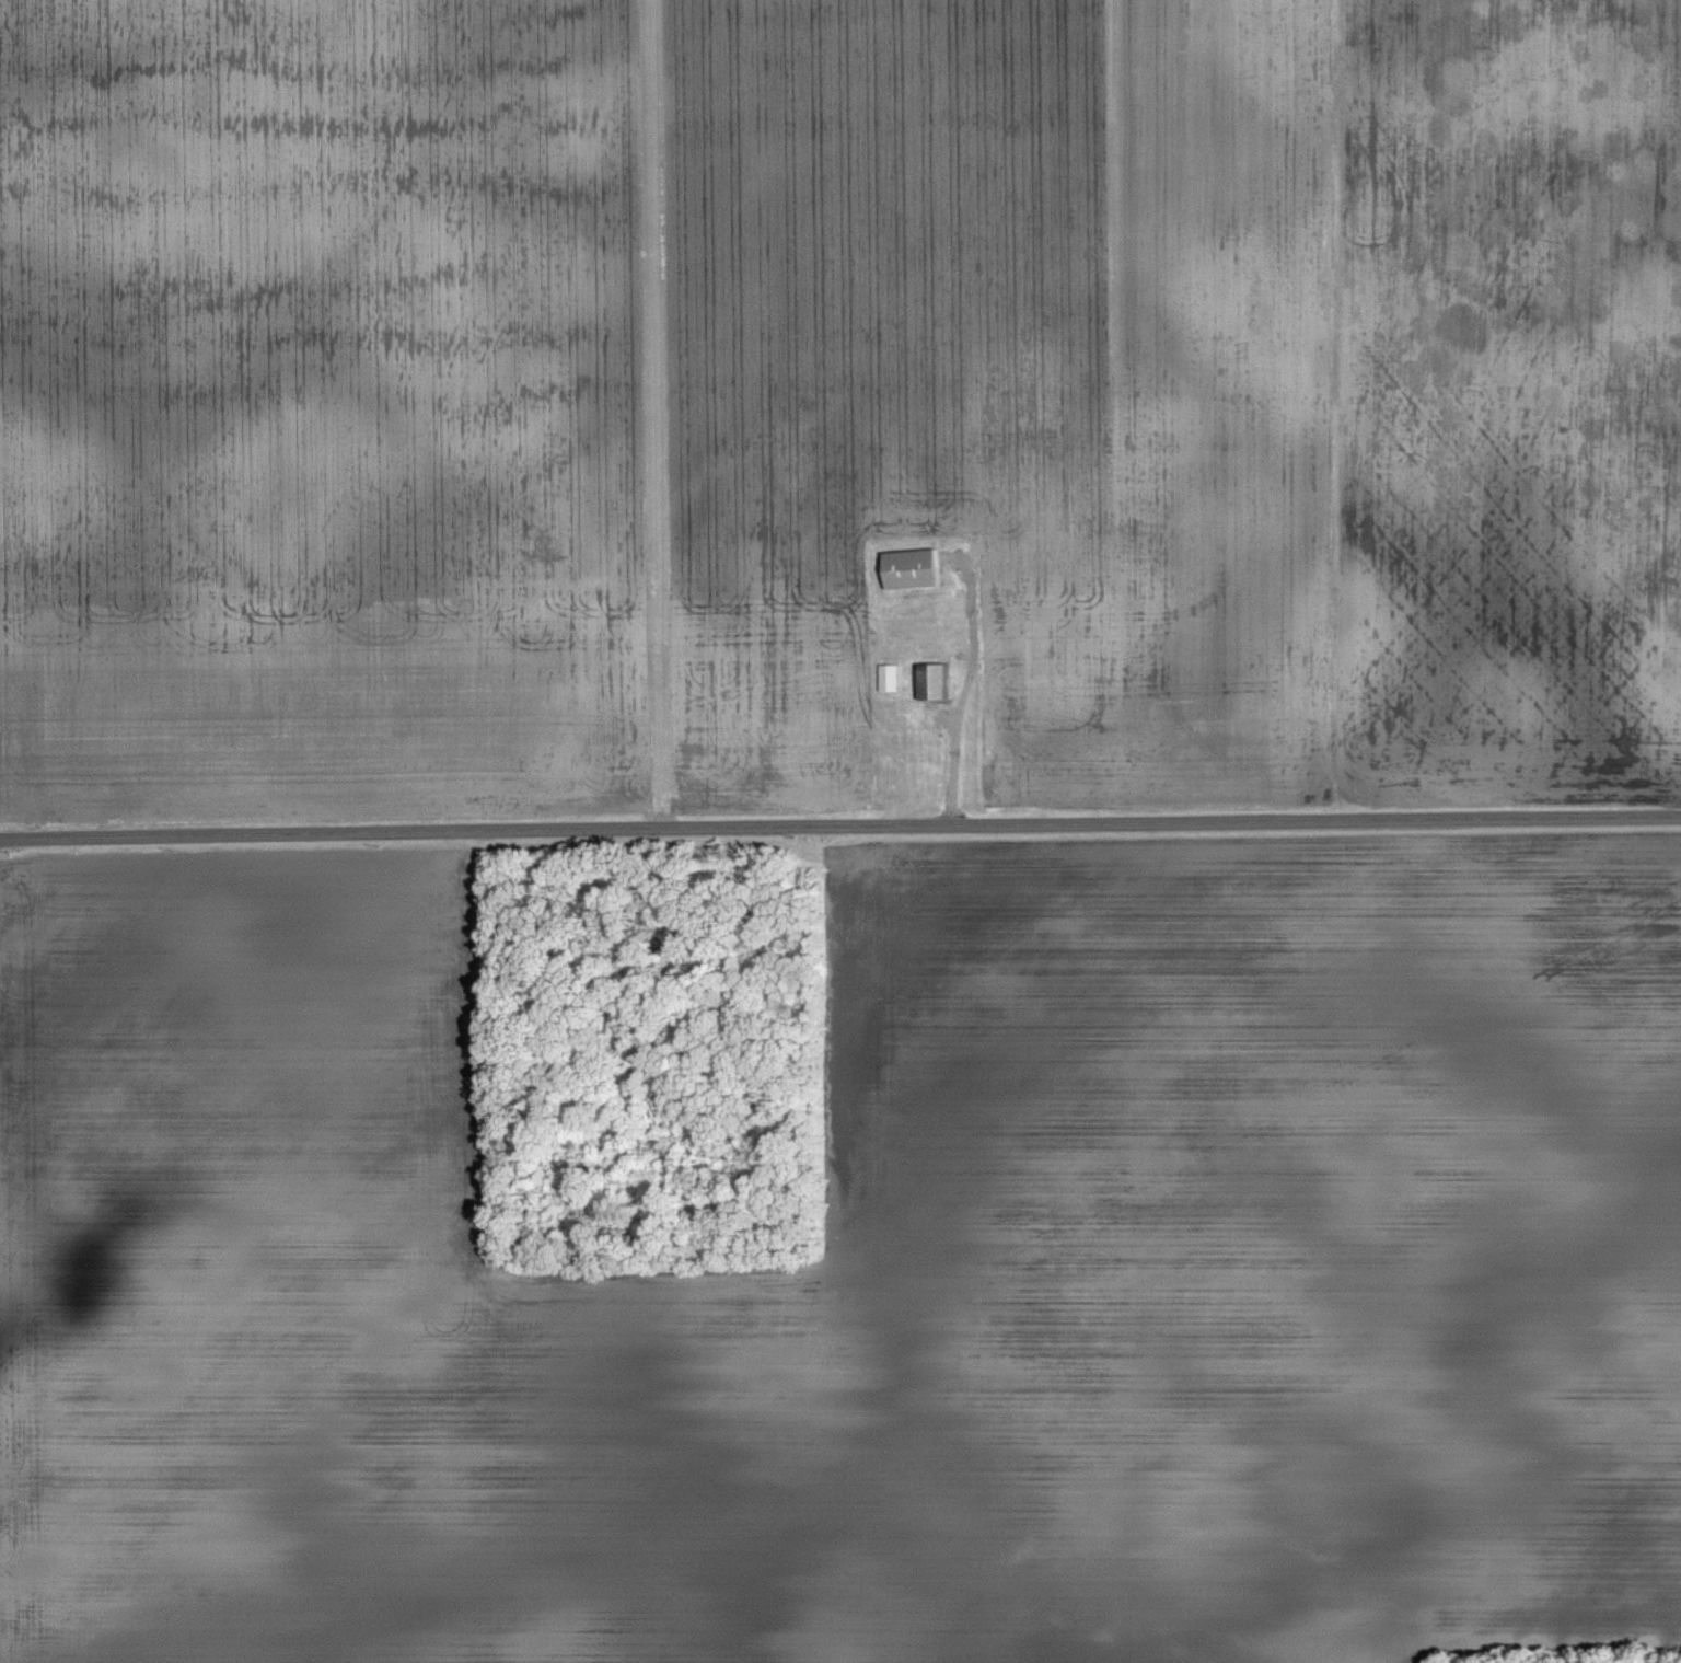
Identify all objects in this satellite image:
building: (909, 569)
building: (888, 678)
building: (930, 681)
road: (964, 690)
road: (839, 827)

